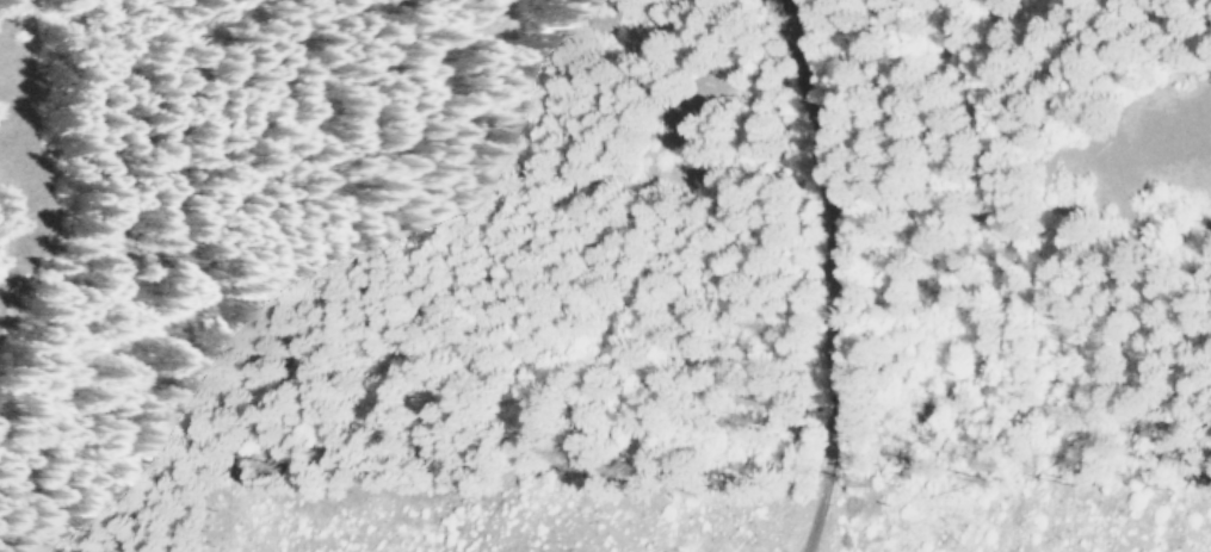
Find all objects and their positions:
road: (829, 274)

